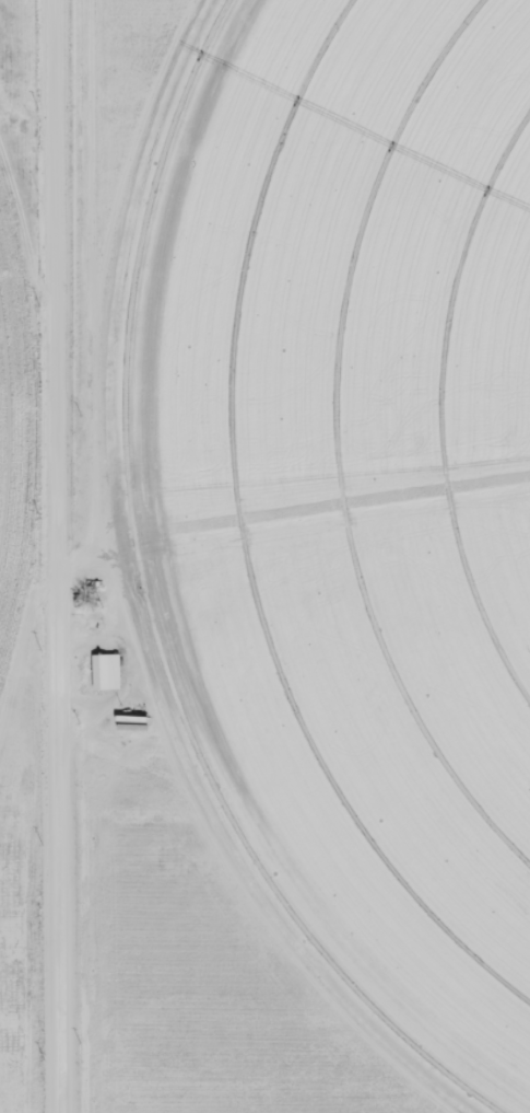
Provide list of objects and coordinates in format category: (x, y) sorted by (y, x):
crop: (22, 427)
crop: (346, 492)
road: (59, 556)
building: (103, 672)

